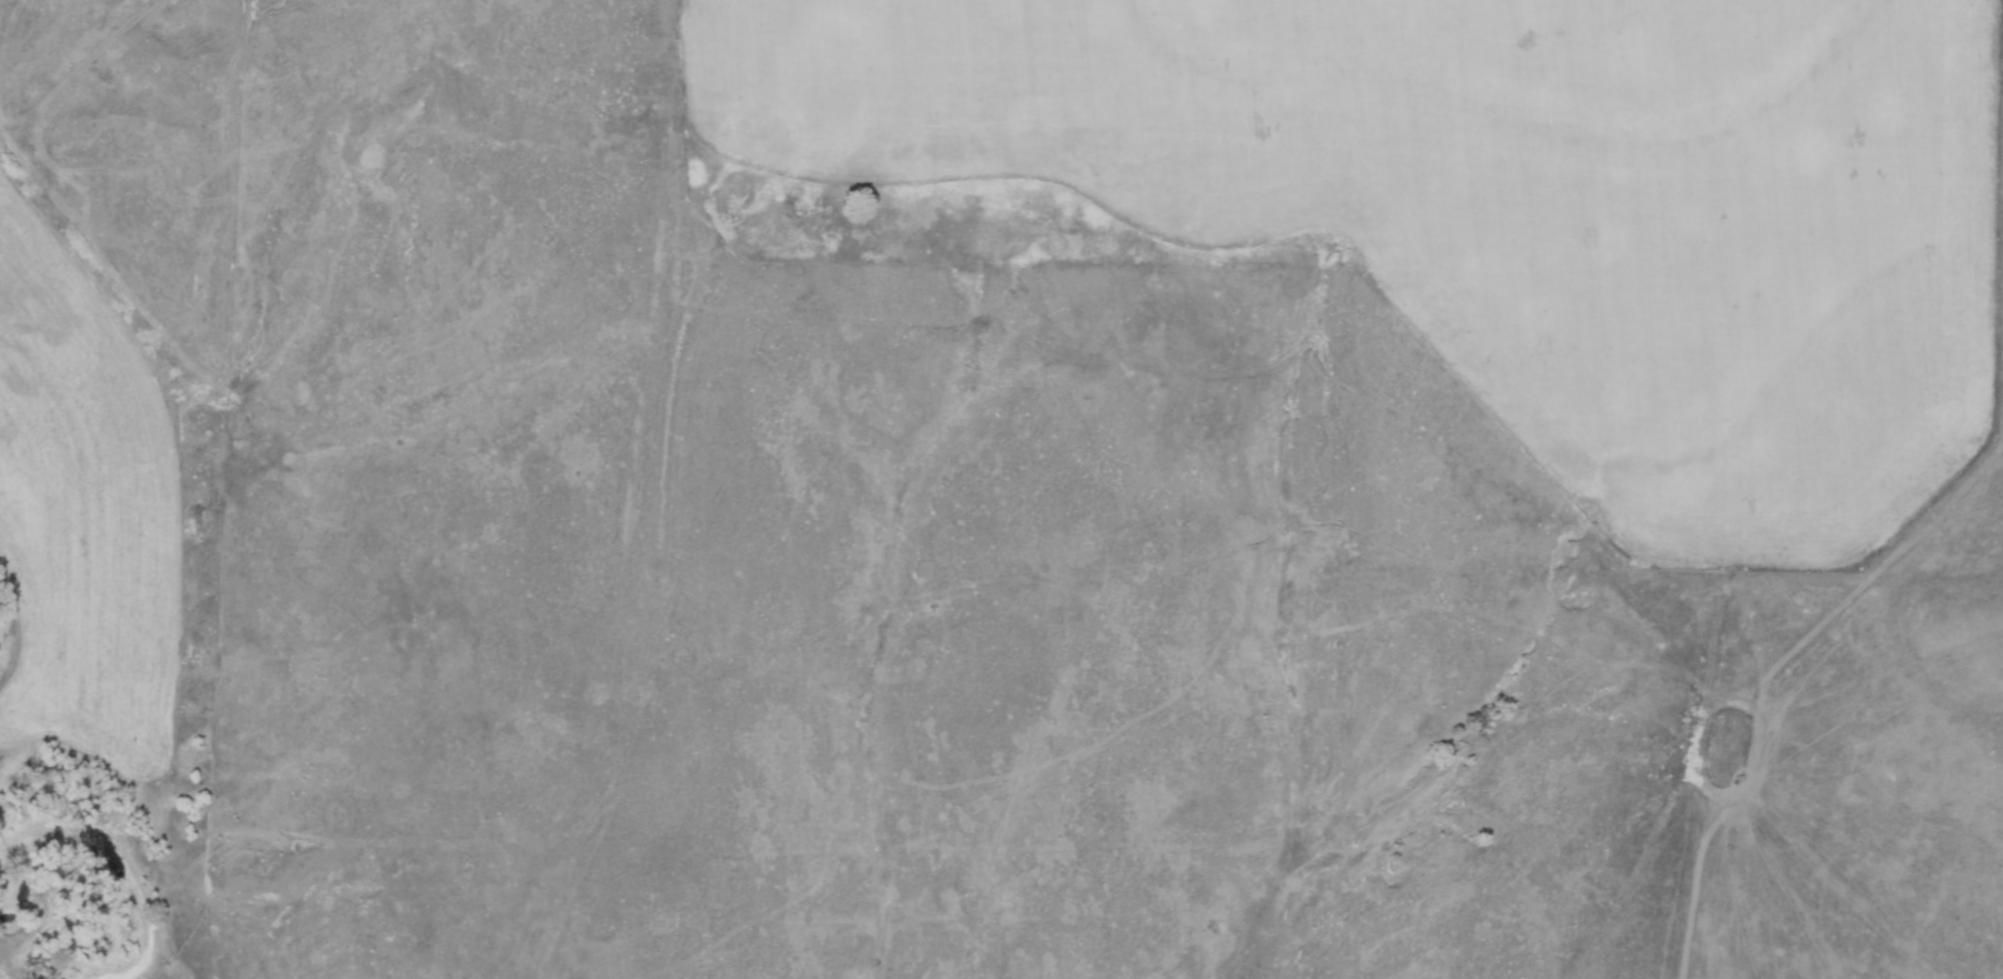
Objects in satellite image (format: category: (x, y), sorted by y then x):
crop: (1513, 207)

